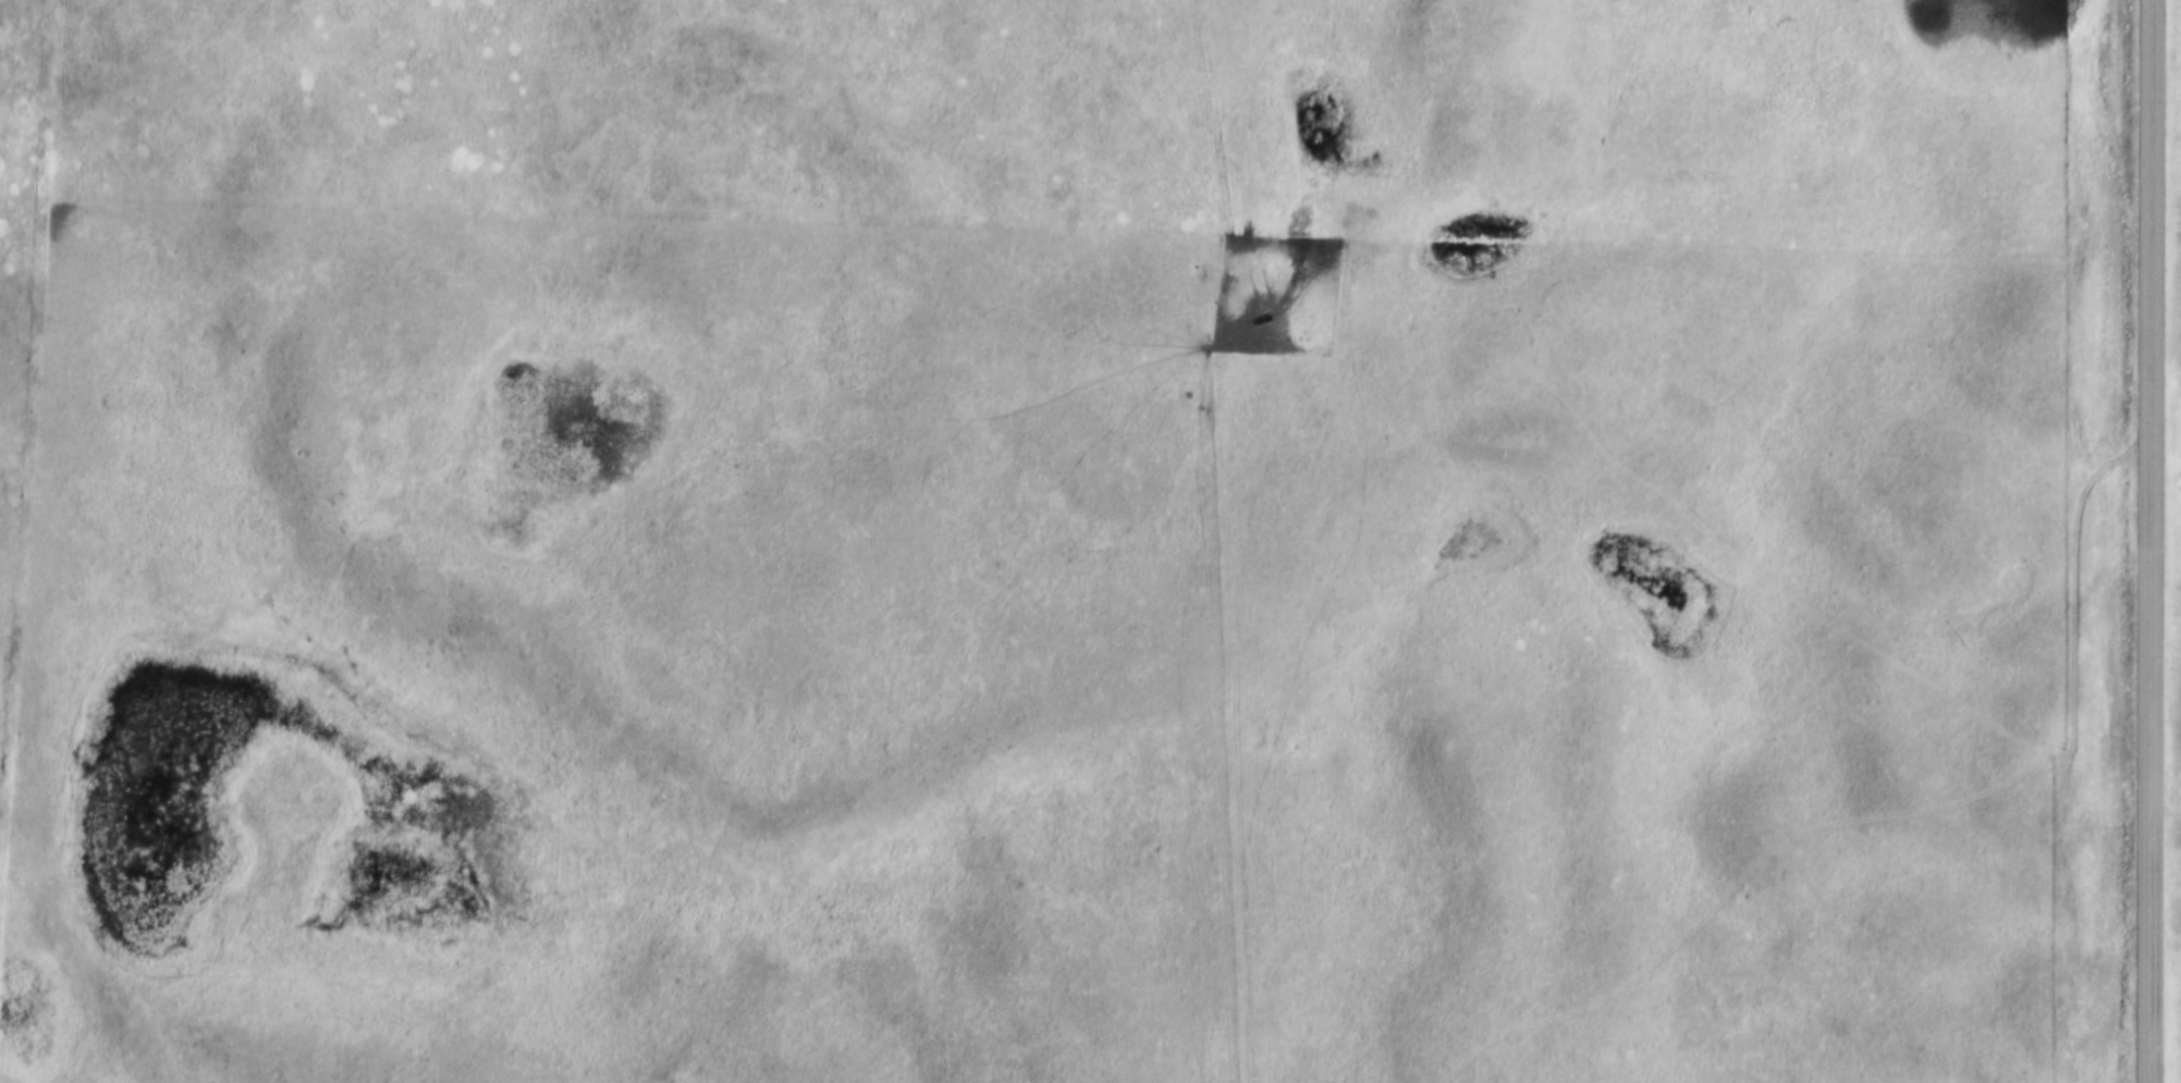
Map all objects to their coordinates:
road: (2152, 541)

